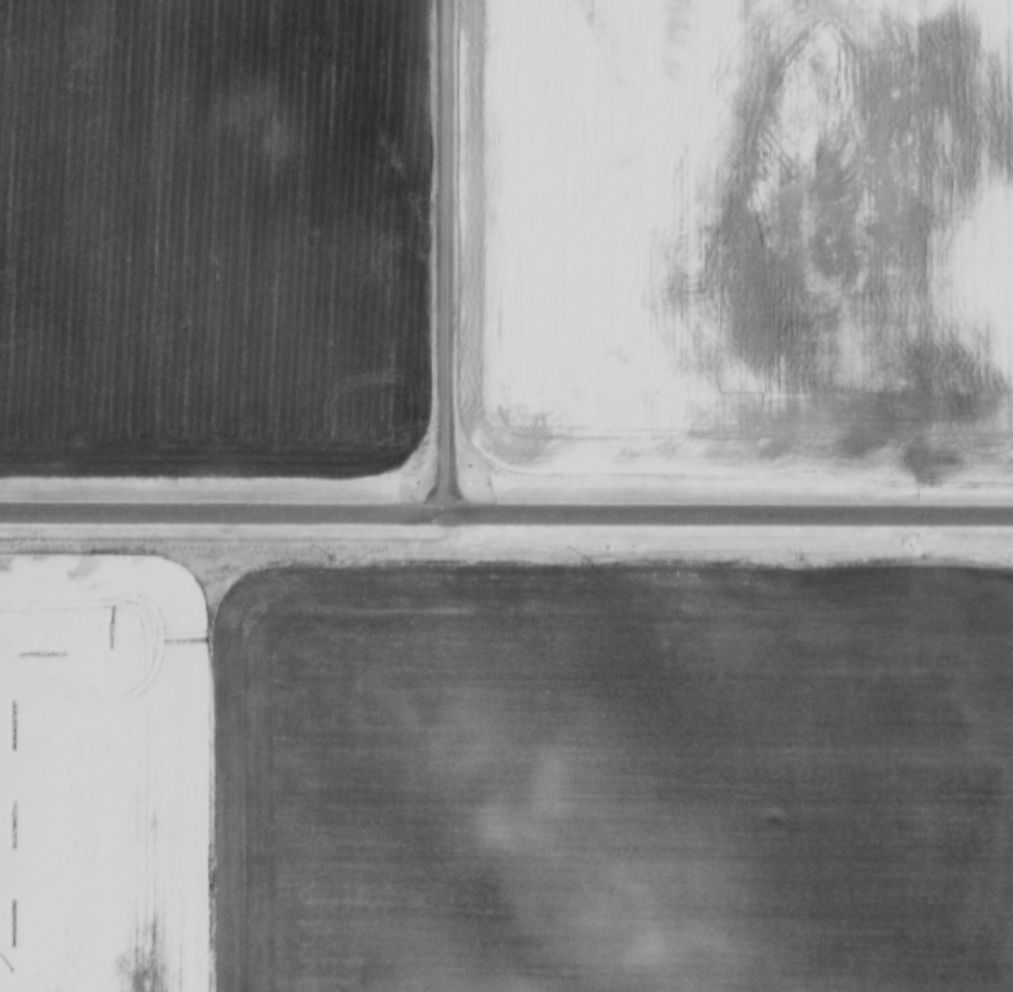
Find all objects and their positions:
road: (446, 256)
road: (506, 513)

